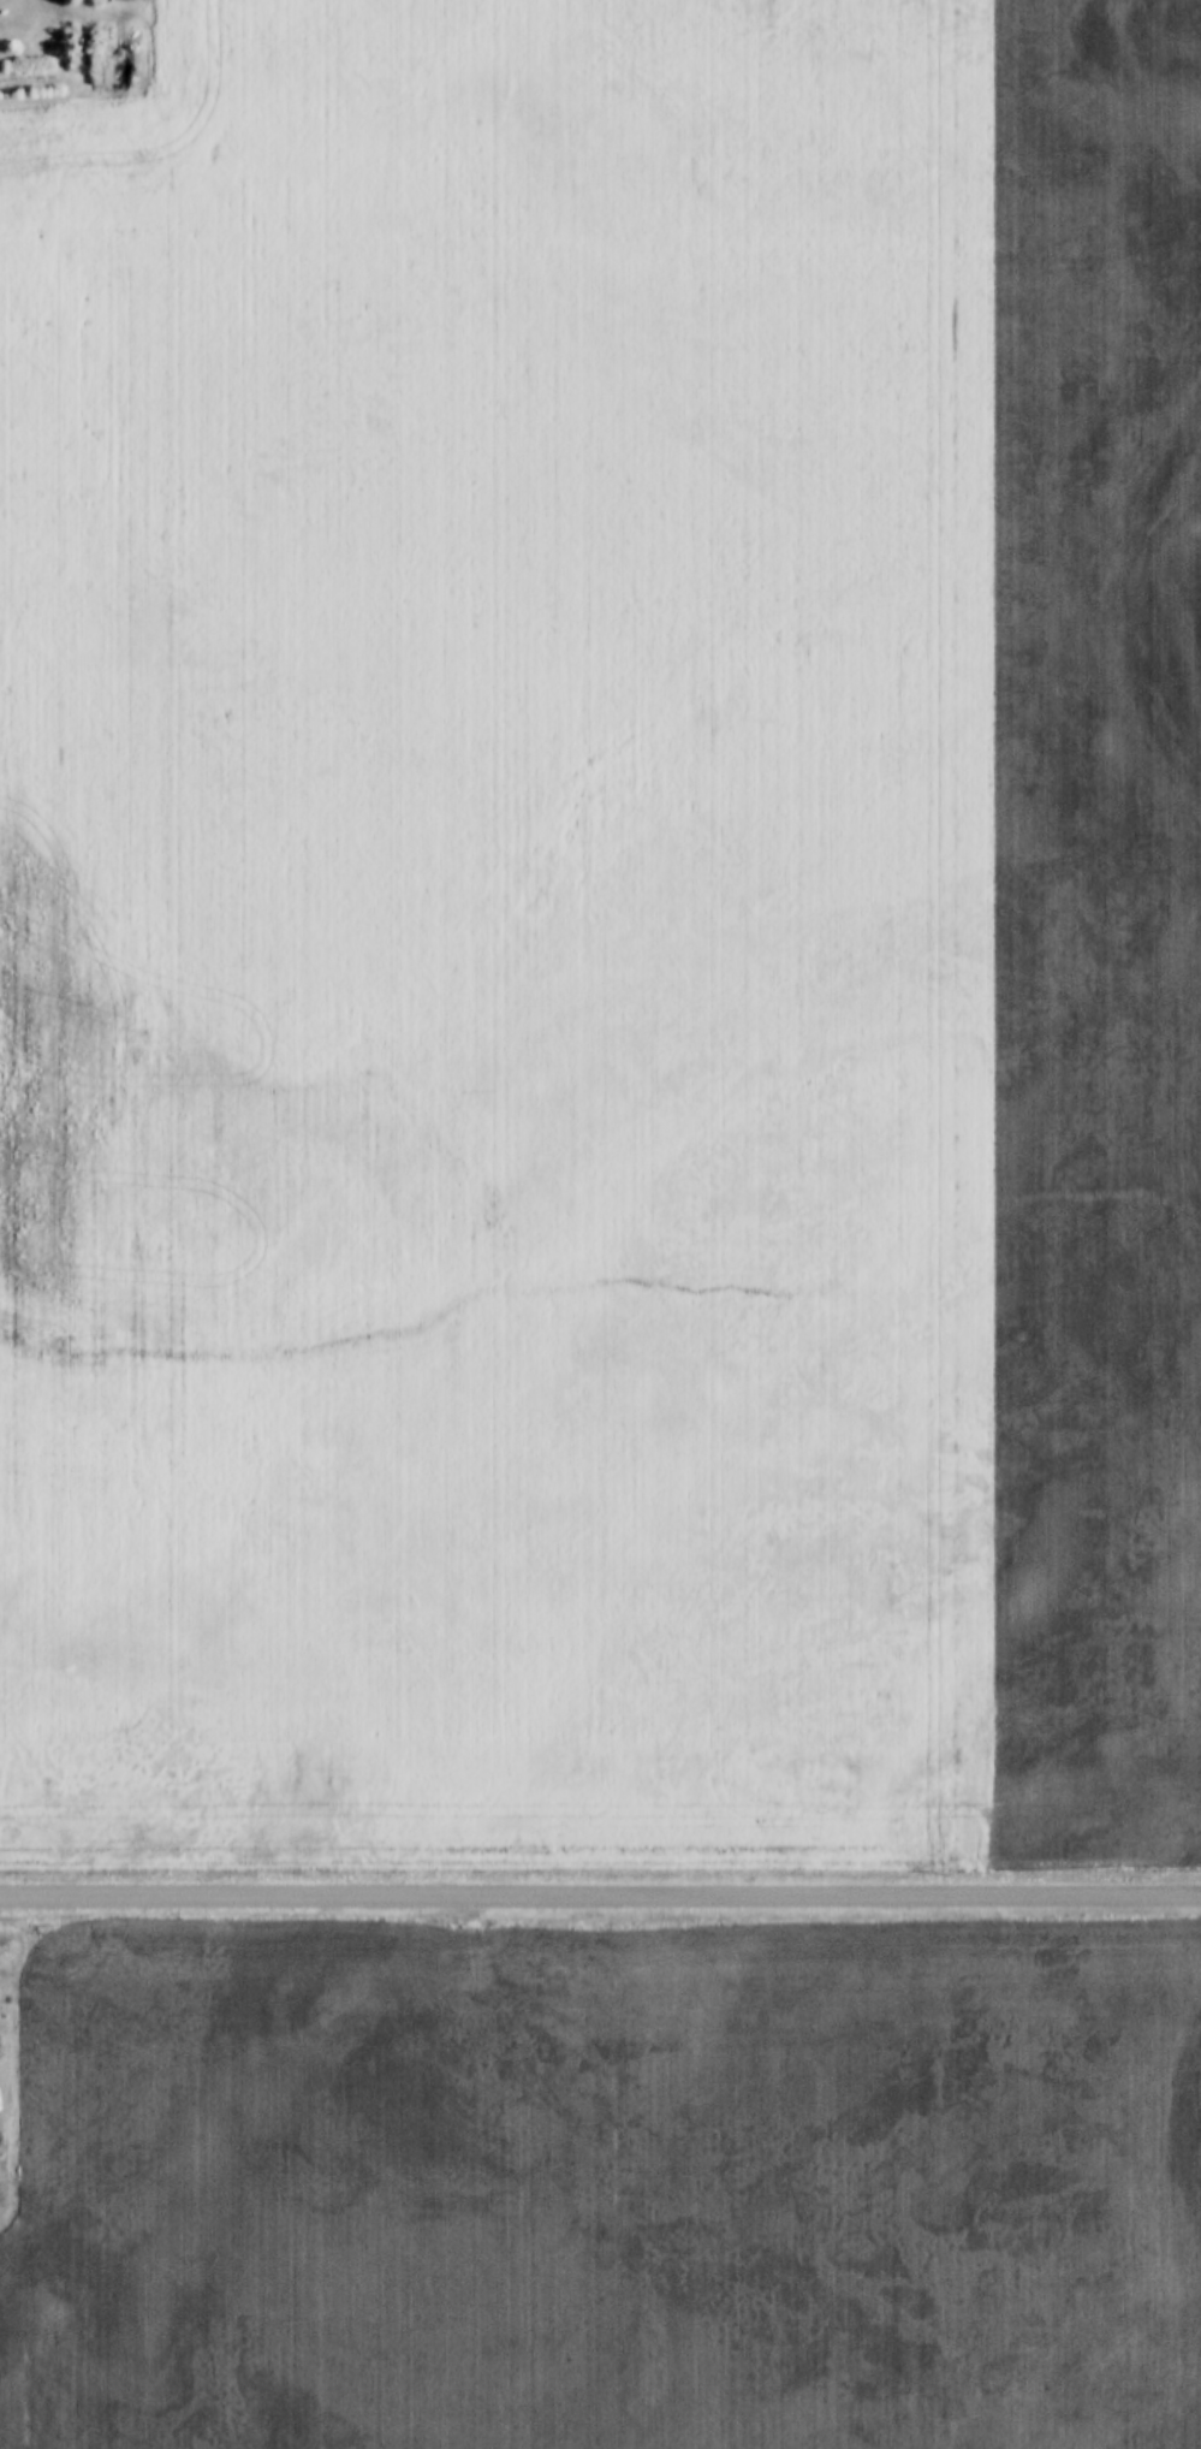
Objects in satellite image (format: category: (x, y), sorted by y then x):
road: (600, 1896)

